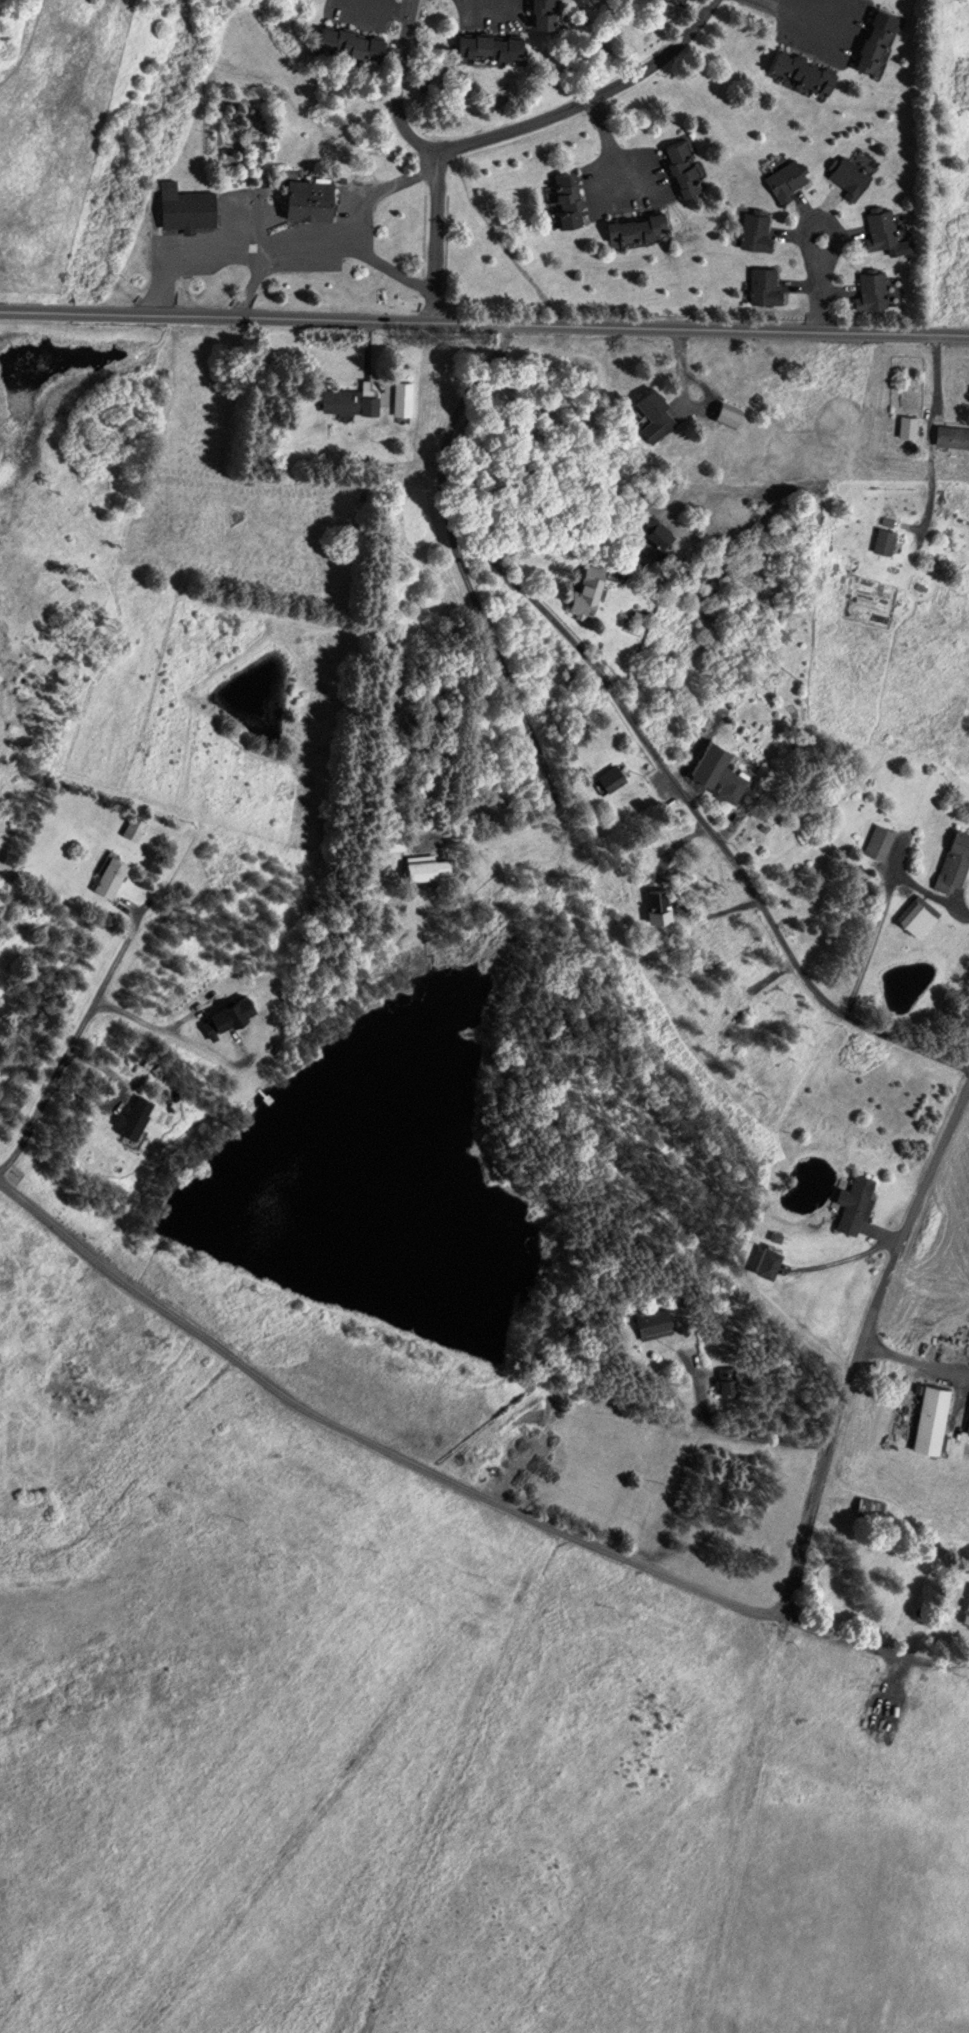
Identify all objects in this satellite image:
building: (671, 1)
road: (386, 6)
building: (539, 14)
road: (801, 18)
building: (337, 41)
building: (870, 41)
building: (489, 48)
building: (796, 72)
road: (508, 129)
road: (610, 146)
building: (683, 167)
building: (846, 178)
building: (783, 181)
building: (306, 196)
building: (564, 199)
building: (182, 205)
road: (819, 219)
building: (633, 229)
building: (878, 230)
building: (753, 232)
road: (436, 233)
building: (762, 287)
building: (870, 291)
road: (817, 304)
road: (484, 321)
building: (401, 398)
building: (346, 401)
building: (651, 414)
building: (905, 426)
road: (923, 432)
building: (950, 435)
road: (531, 540)
building: (881, 540)
building: (586, 586)
road: (640, 731)
road: (532, 753)
building: (712, 769)
building: (611, 779)
building: (134, 829)
building: (877, 841)
building: (952, 859)
building: (423, 868)
building: (109, 877)
building: (654, 904)
building: (915, 915)
road: (93, 1001)
building: (229, 1012)
building: (852, 1202)
building: (762, 1260)
road: (839, 1260)
building: (651, 1322)
road: (860, 1341)
road: (913, 1360)
building: (724, 1380)
building: (929, 1419)
building: (967, 1422)
road: (744, 1435)
road: (455, 1483)
building: (965, 1609)
road: (964, 1663)
building: (858, 1807)

